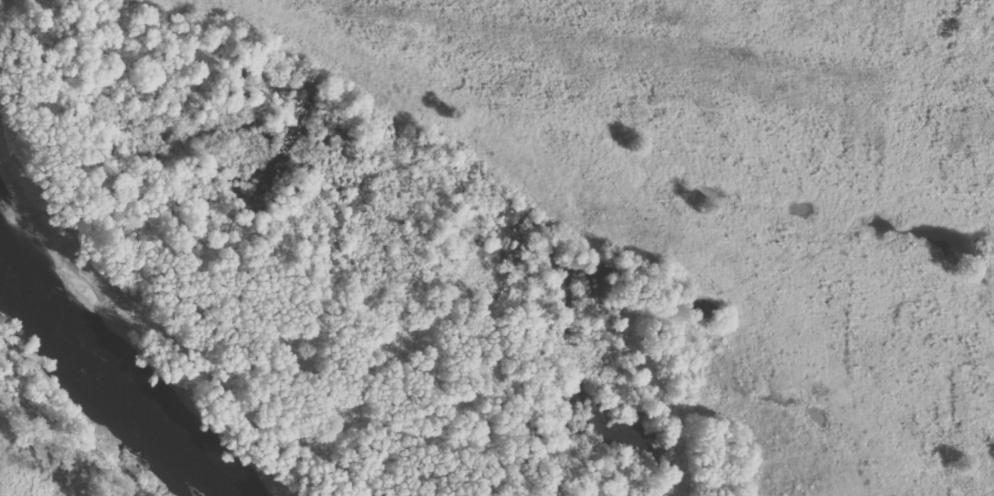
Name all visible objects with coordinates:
river: (132, 376)

